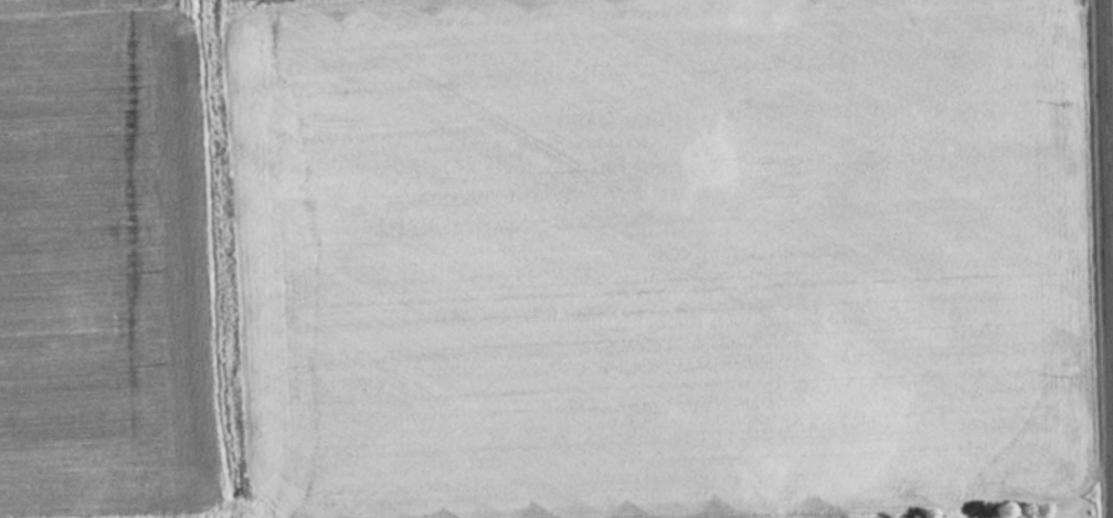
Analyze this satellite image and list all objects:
road: (1109, 169)

